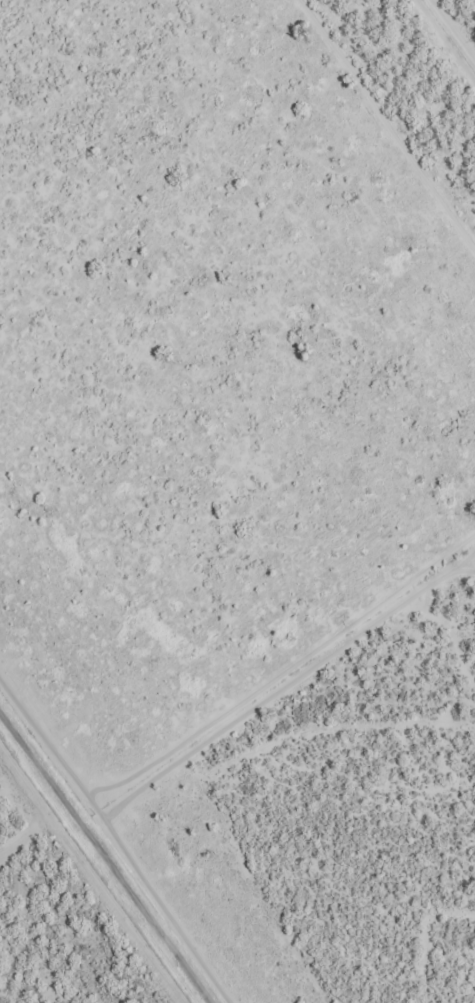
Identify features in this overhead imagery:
road: (107, 853)

